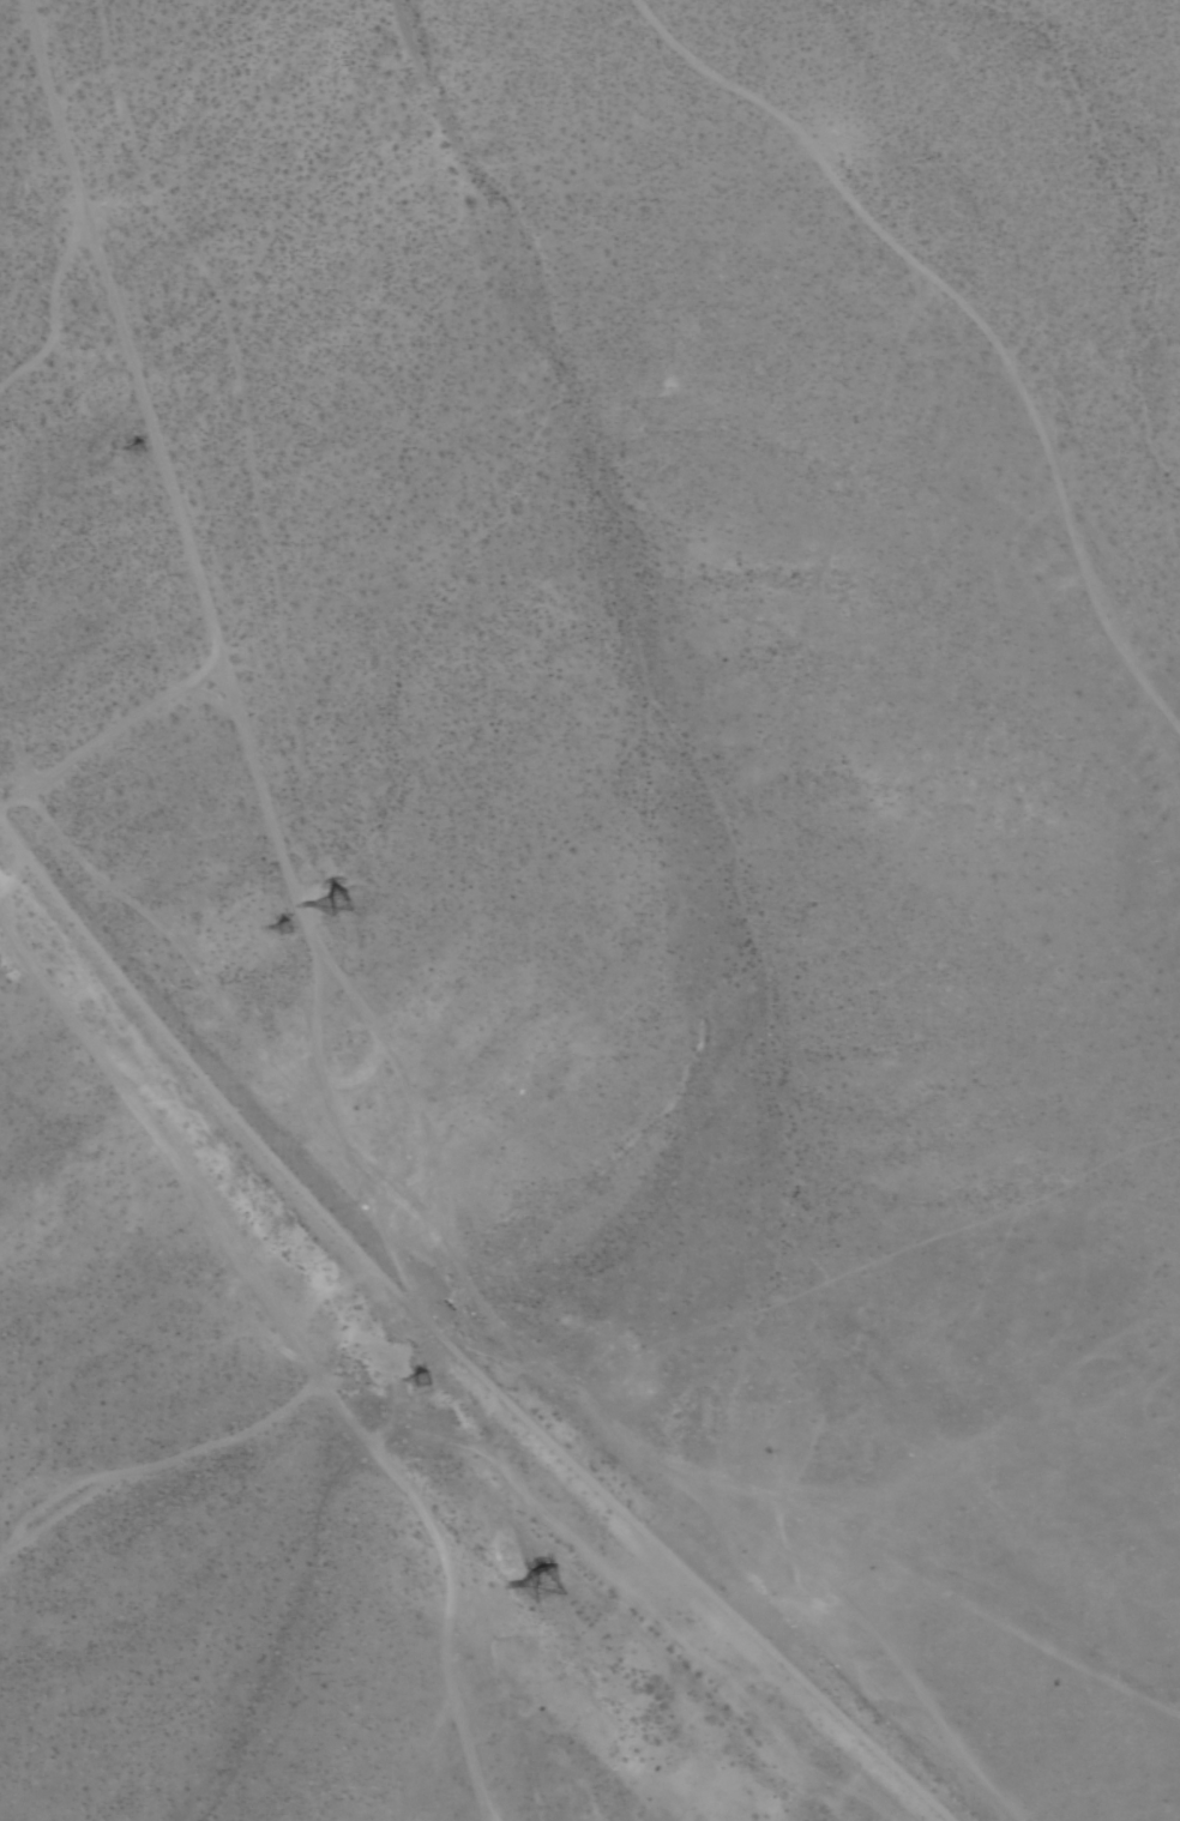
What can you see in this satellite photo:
power tower: (119, 459)
power tower: (330, 915)
power tower: (272, 931)
power tower: (534, 1588)

